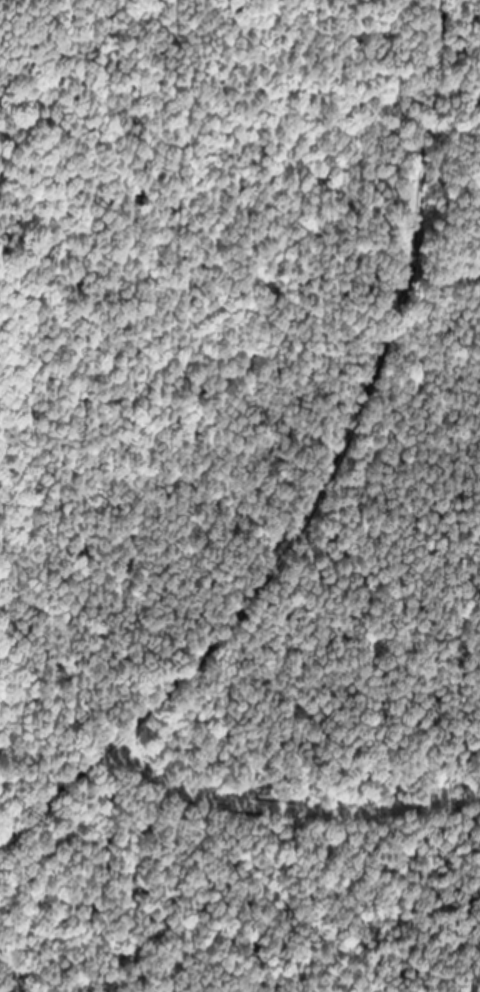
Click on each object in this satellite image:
road: (323, 479)
road: (291, 809)

